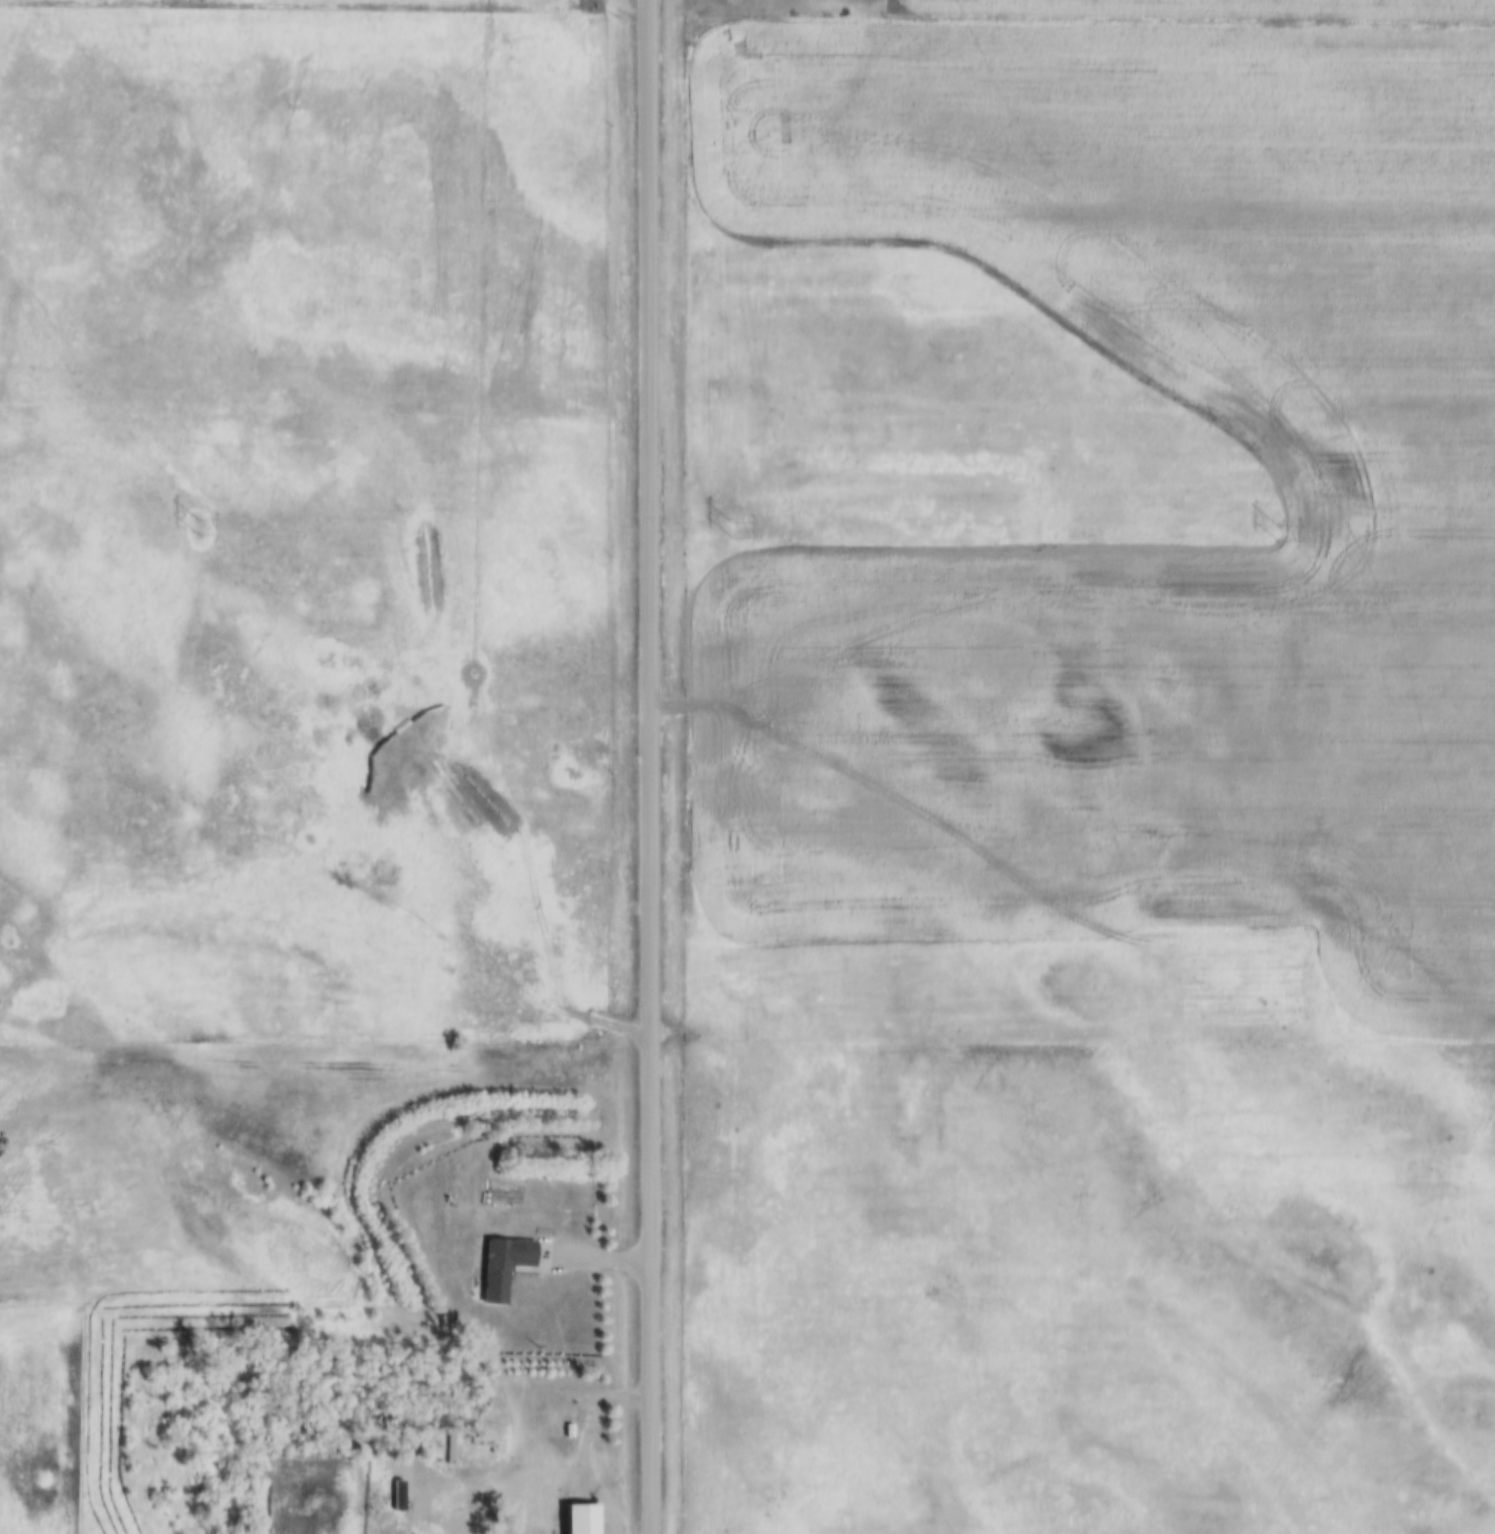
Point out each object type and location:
power tower: (190, 524)
power tower: (732, 527)
power tower: (1294, 534)
road: (652, 766)
building: (504, 1263)
road: (592, 1384)
building: (583, 1518)
building: (464, 1531)

